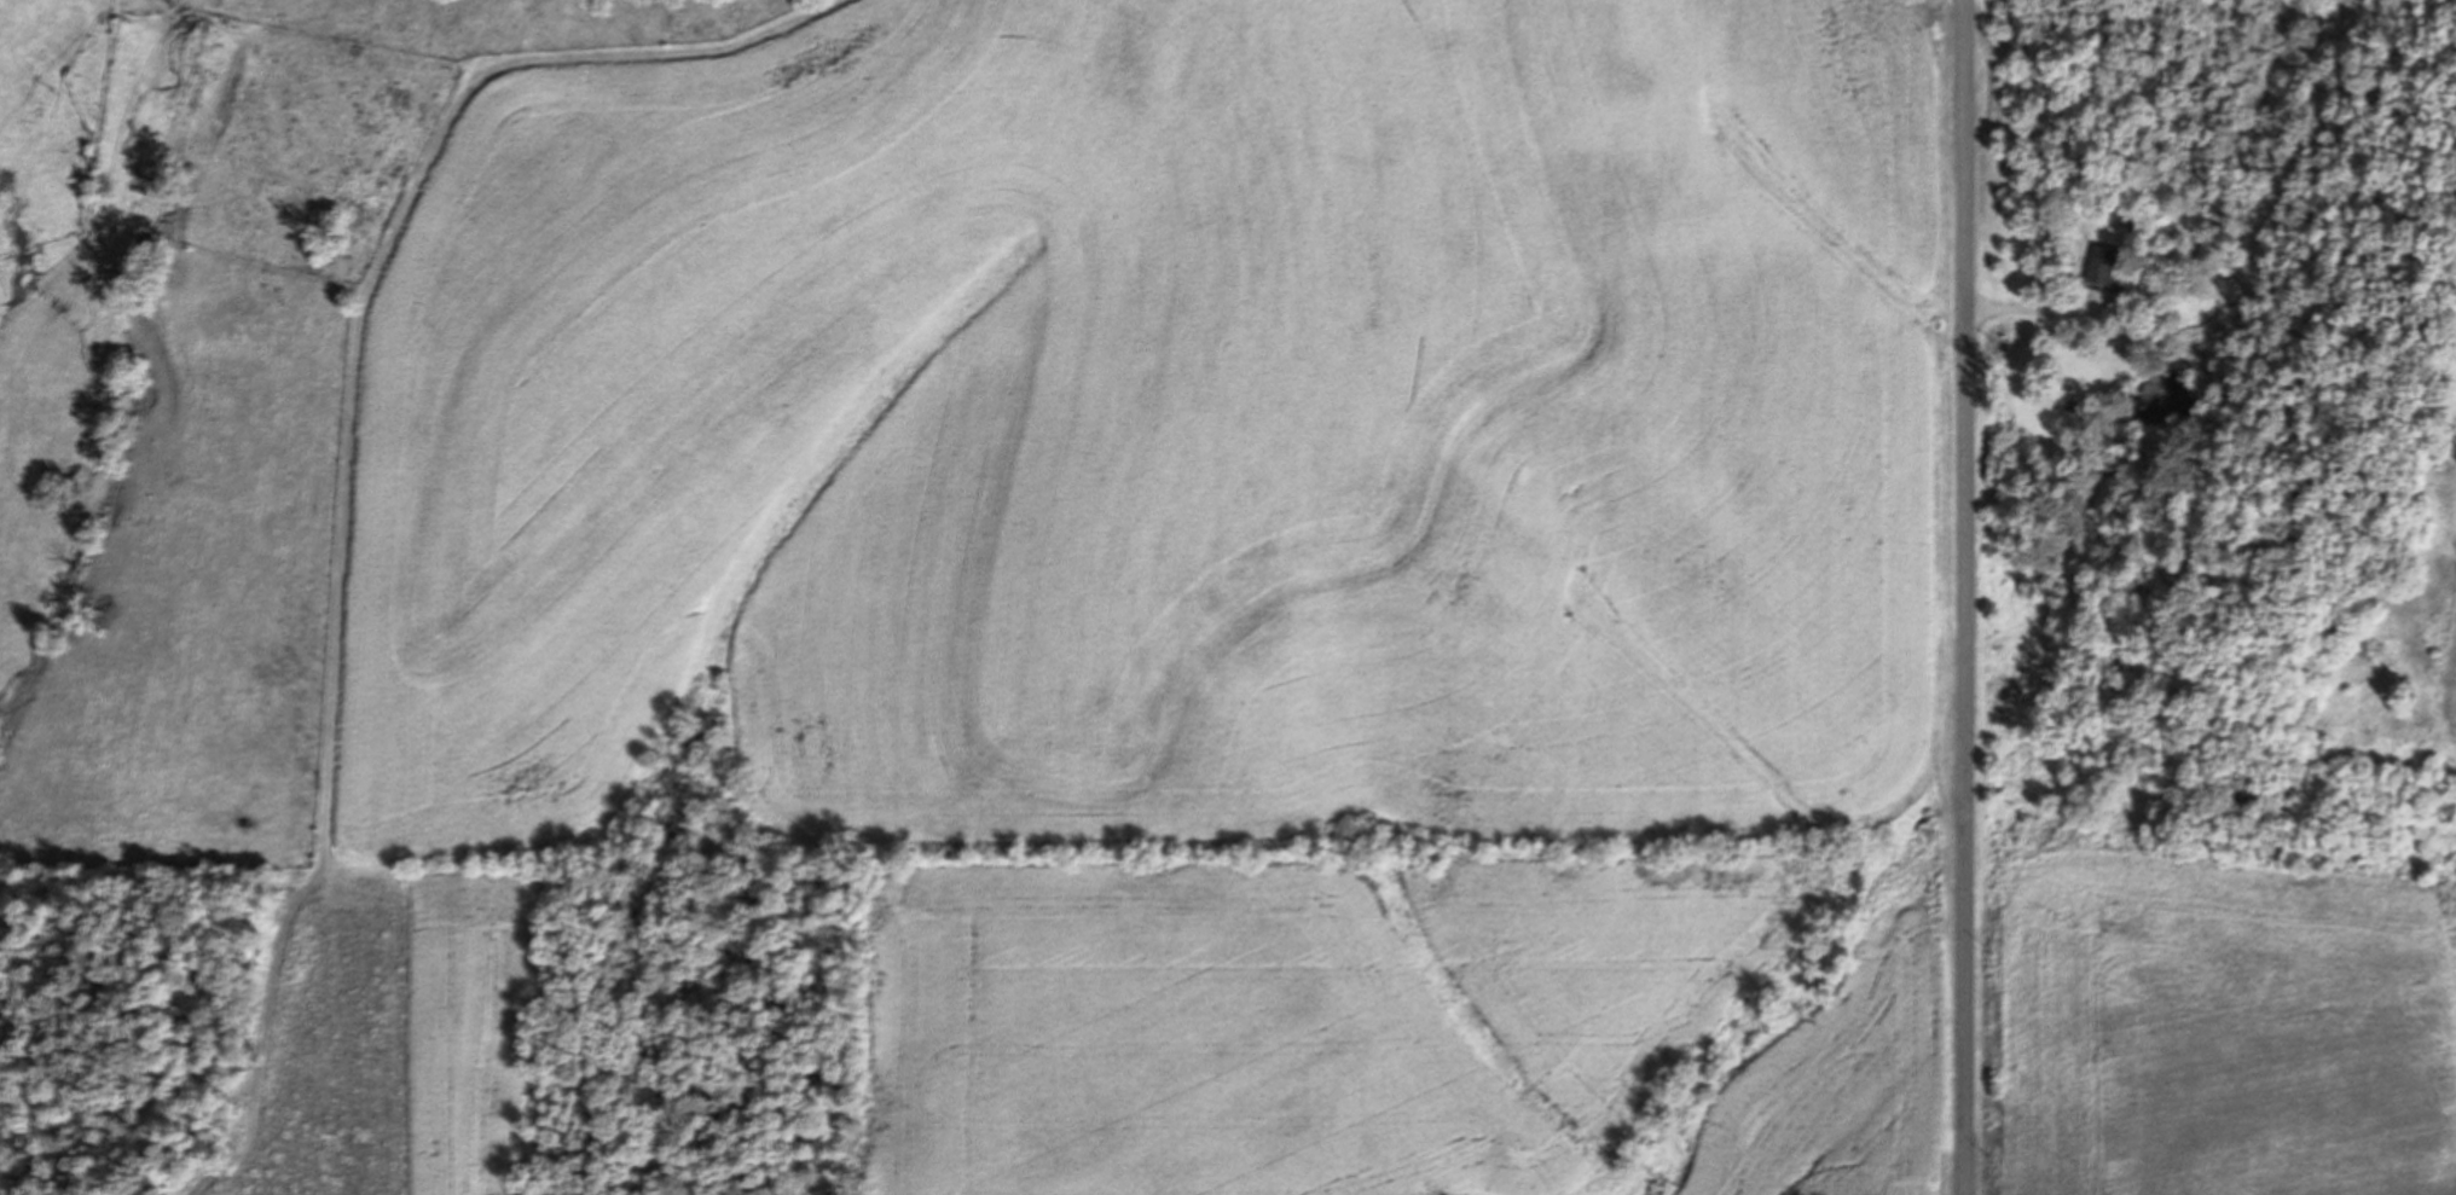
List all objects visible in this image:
building: (2101, 266)
road: (1966, 597)

